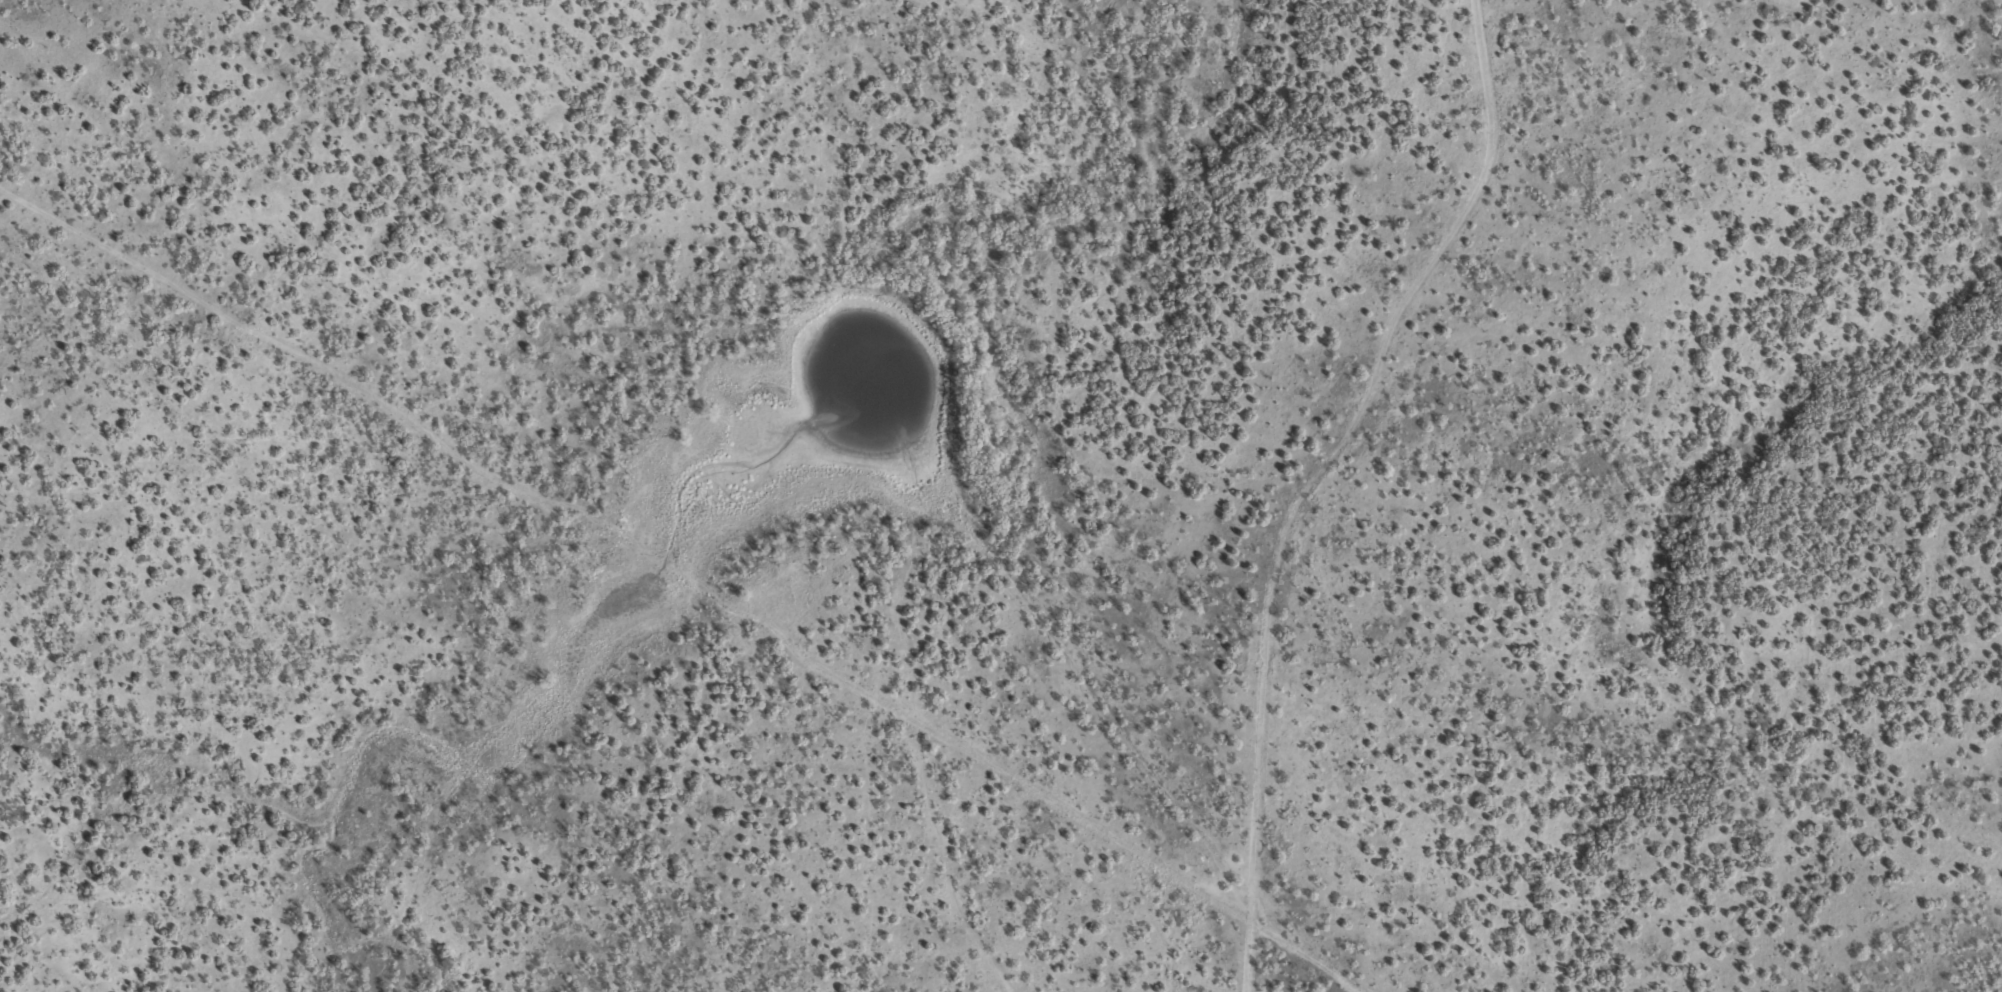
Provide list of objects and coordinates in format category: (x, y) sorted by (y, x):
road: (1164, 422)
road: (1217, 507)

